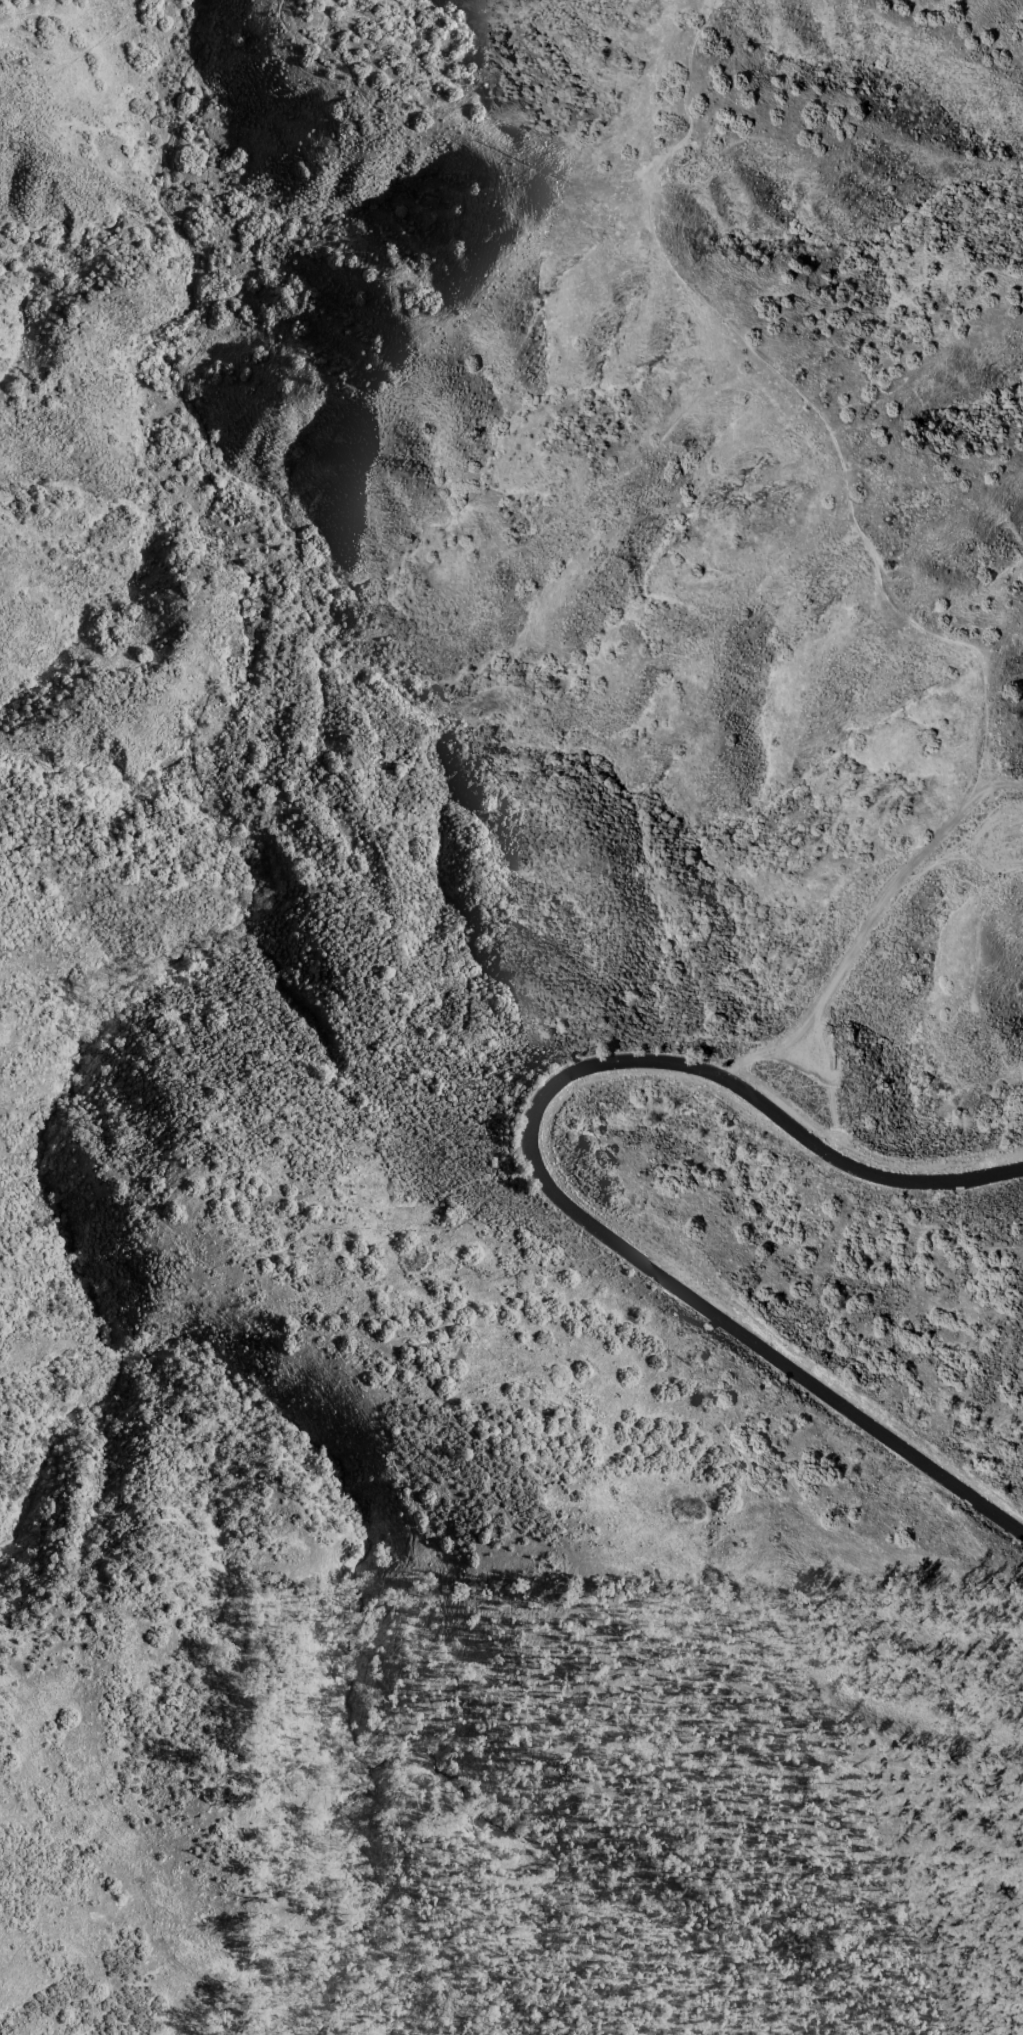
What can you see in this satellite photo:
road: (537, 1174)

